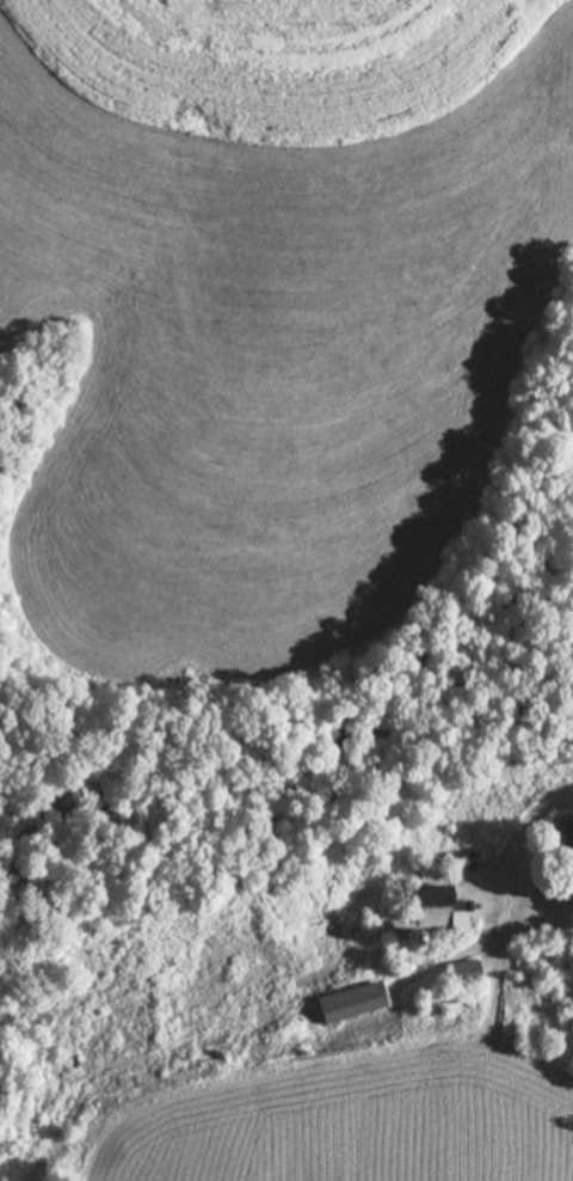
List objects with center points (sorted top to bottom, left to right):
building: (560, 838)
building: (461, 861)
building: (432, 918)
building: (466, 972)
building: (349, 1002)

